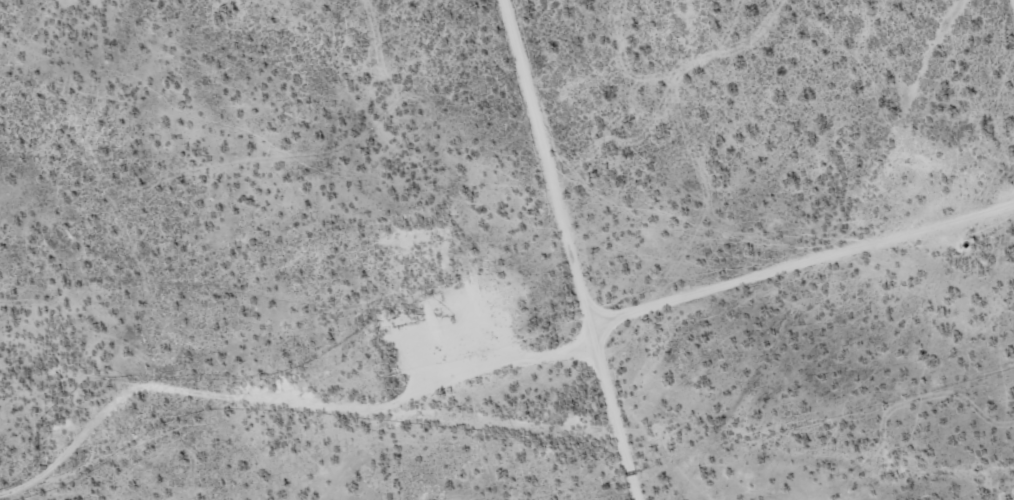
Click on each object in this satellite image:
road: (575, 250)
road: (805, 267)
road: (61, 478)

